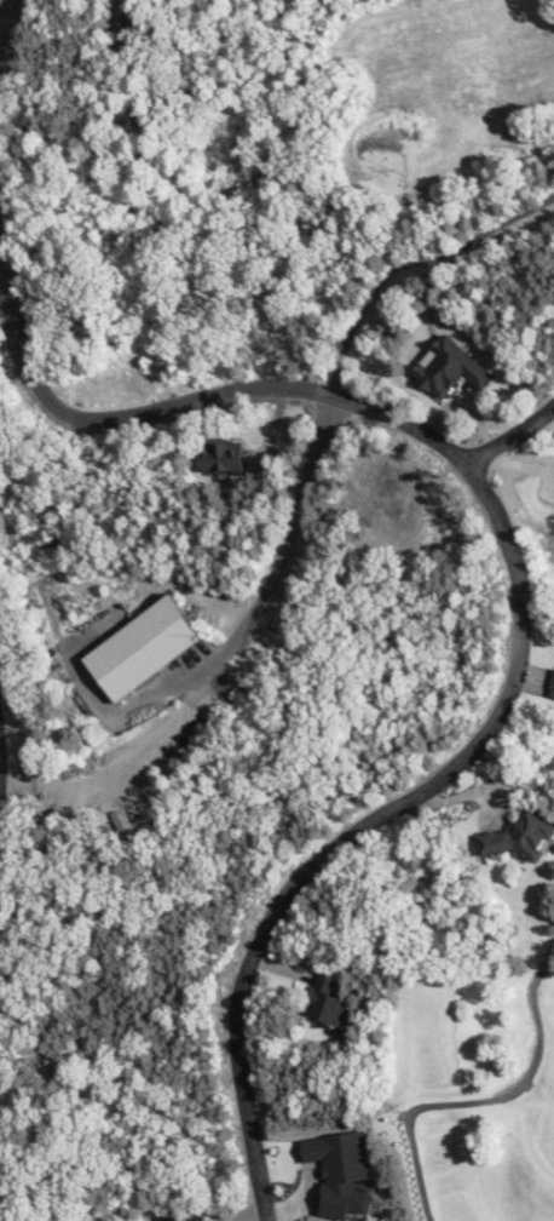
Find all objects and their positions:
park: (432, 103)
building: (456, 369)
road: (508, 441)
building: (229, 458)
road: (520, 466)
road: (487, 517)
building: (150, 649)
road: (525, 673)
building: (550, 676)
building: (553, 697)
building: (518, 837)
road: (275, 963)
building: (325, 1001)
park: (471, 1073)
road: (519, 1074)
road: (238, 1110)
road: (302, 1159)
building: (339, 1169)
road: (414, 1175)
building: (185, 1219)

